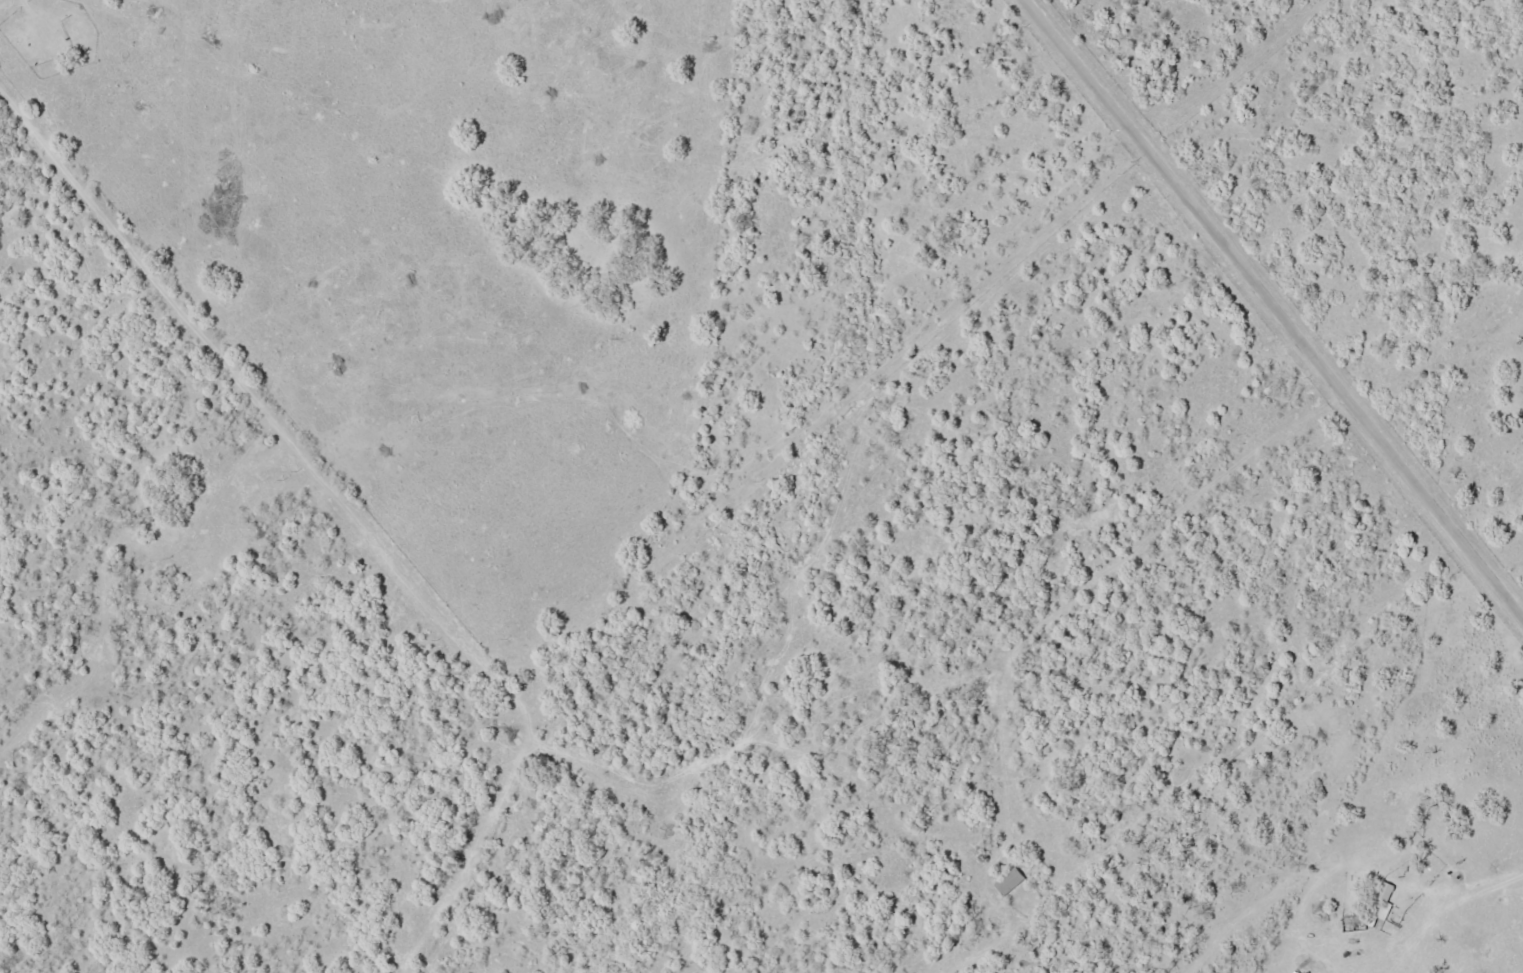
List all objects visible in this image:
road: (1274, 307)
building: (1011, 880)
building: (1384, 898)
building: (1345, 923)

